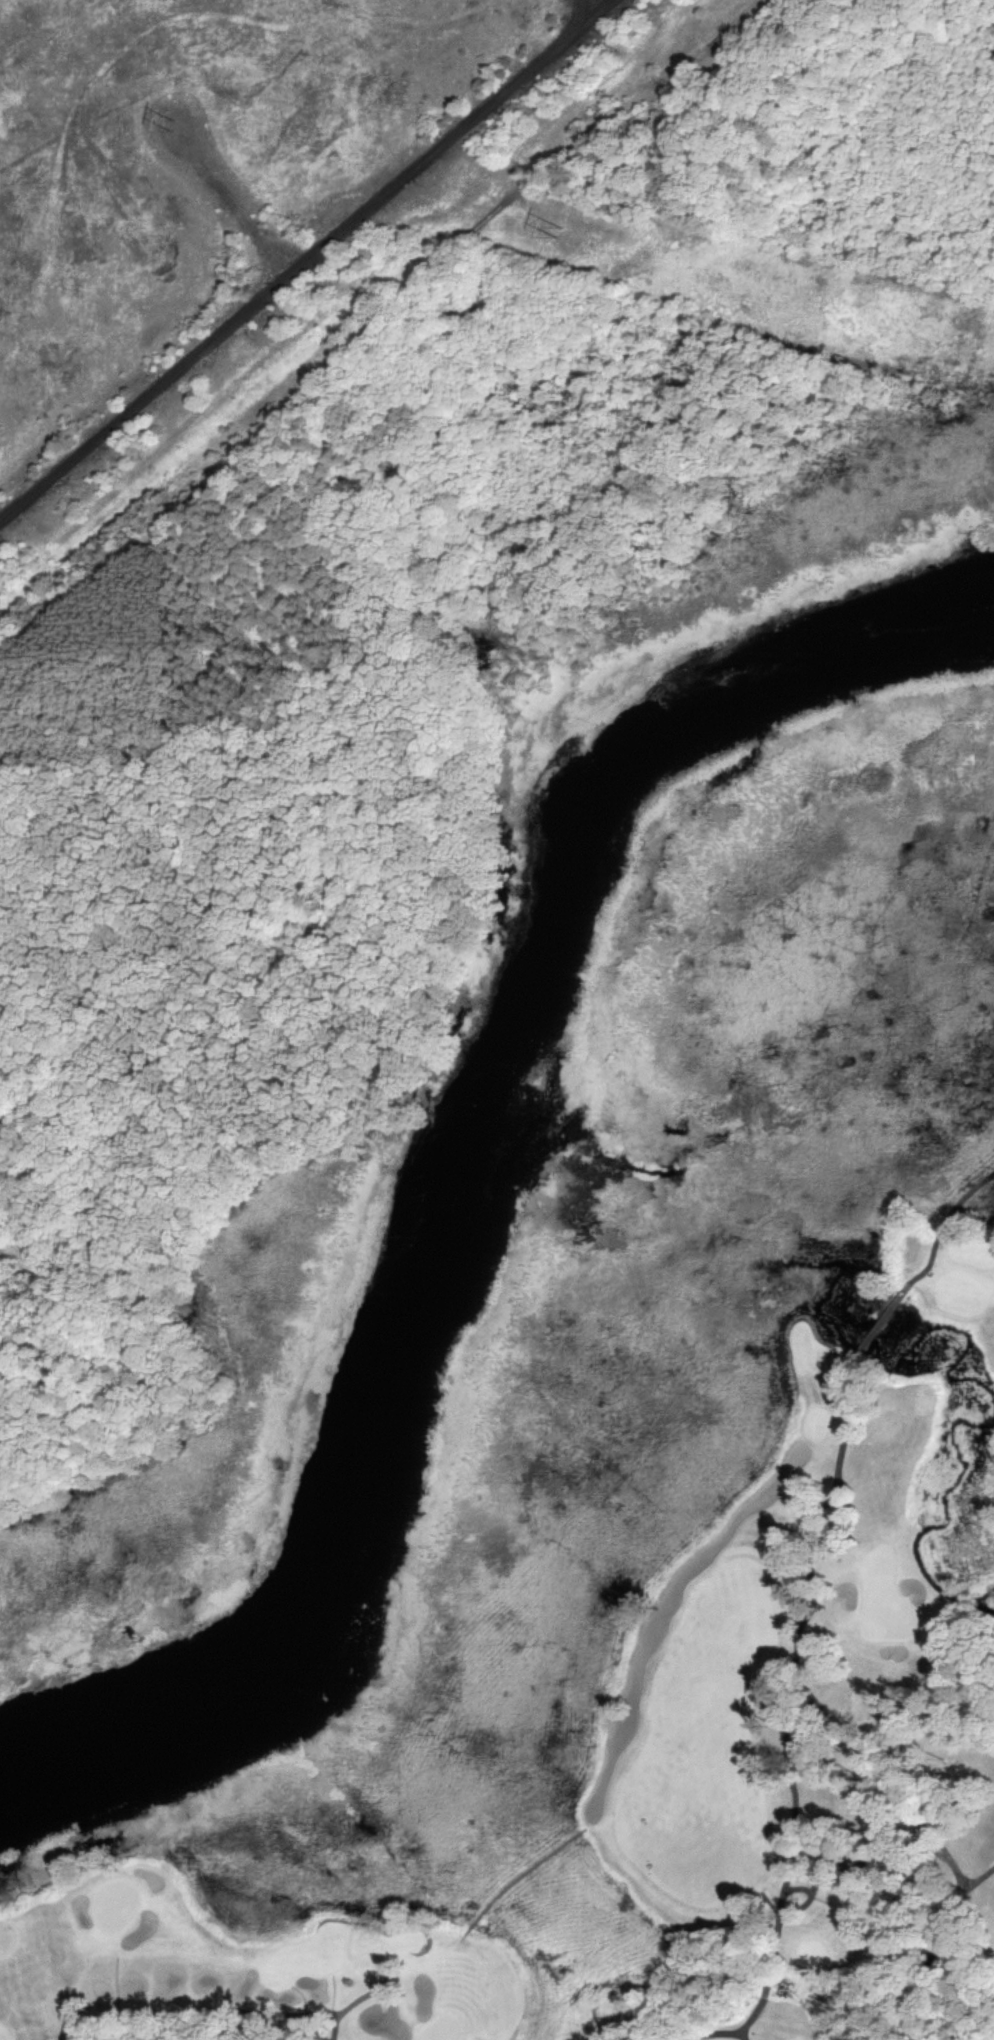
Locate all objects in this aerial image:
power tower: (178, 134)
power tower: (555, 239)
river: (465, 1167)
road: (943, 1221)
road: (876, 1323)
road: (825, 1504)
park: (656, 1569)
road: (785, 1705)
road: (884, 1774)
road: (512, 1875)
road: (947, 1944)
road: (197, 2016)

